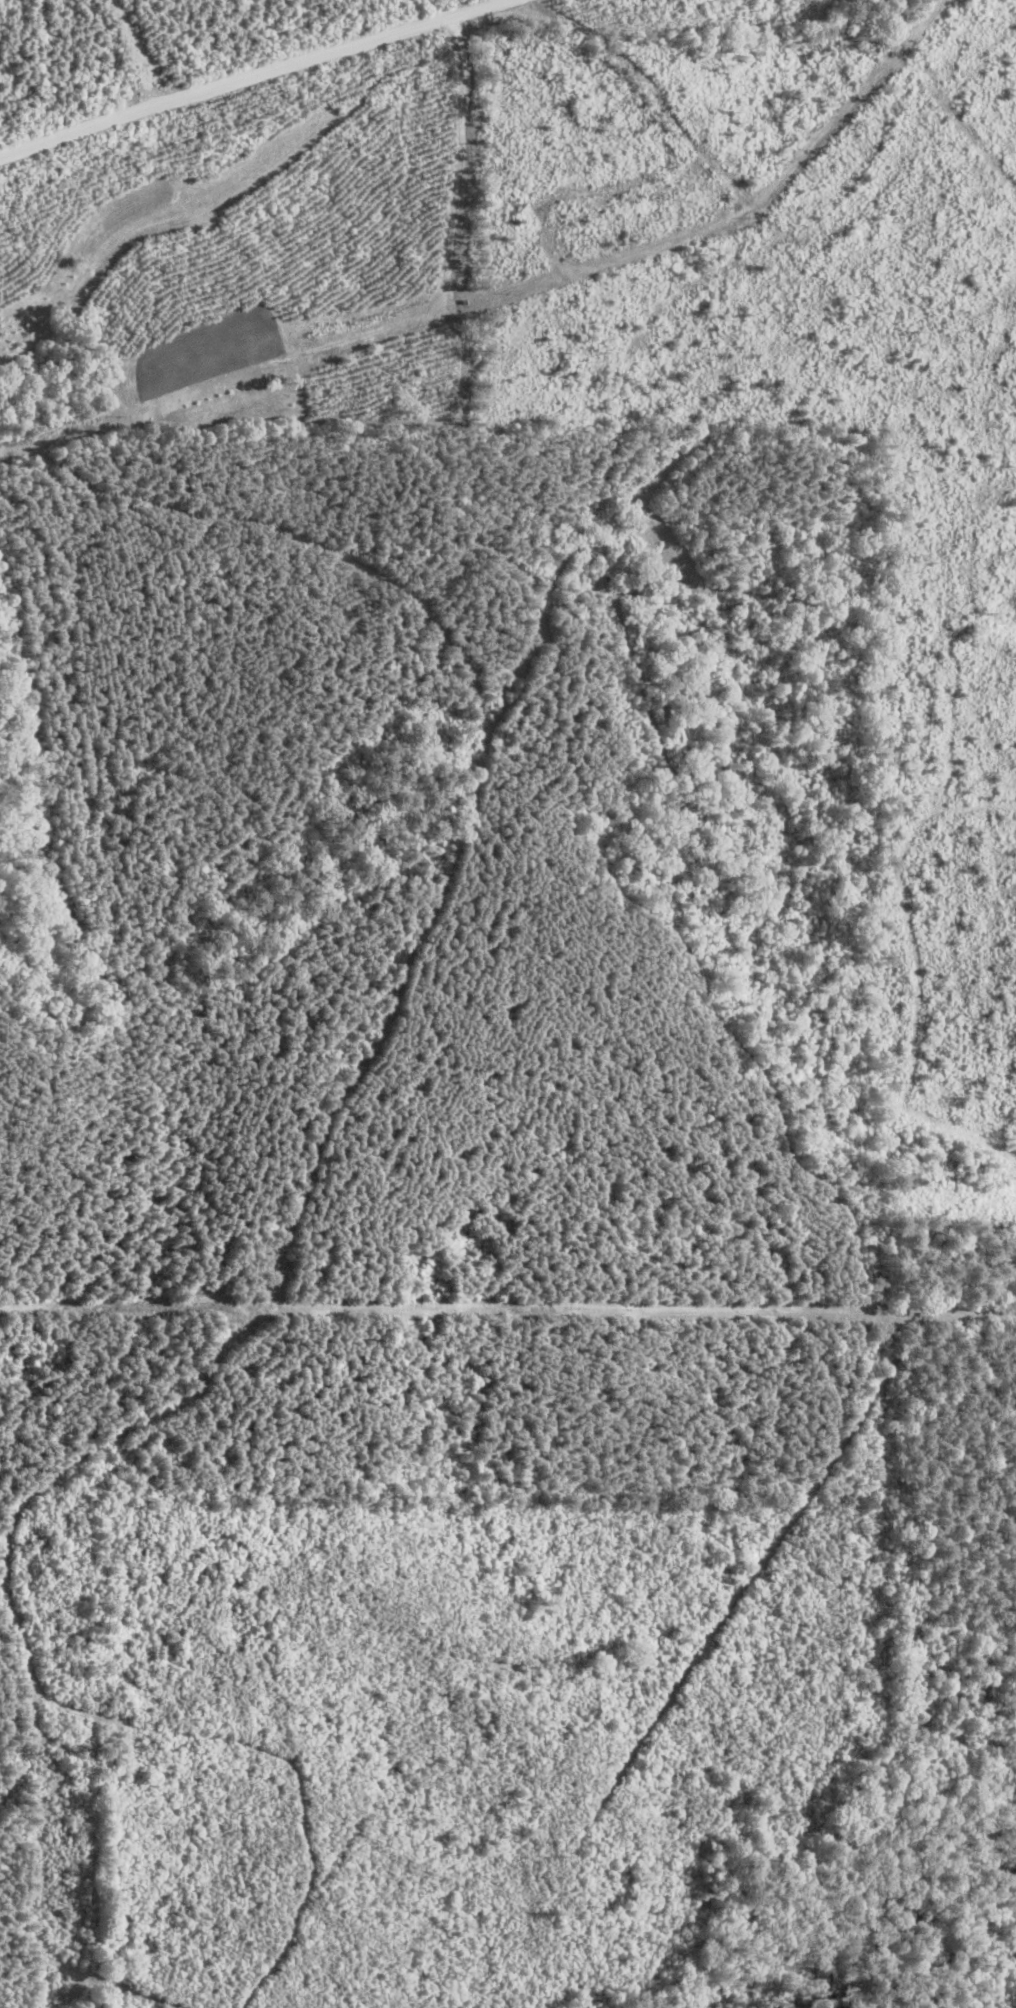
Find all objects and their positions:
road: (254, 74)

